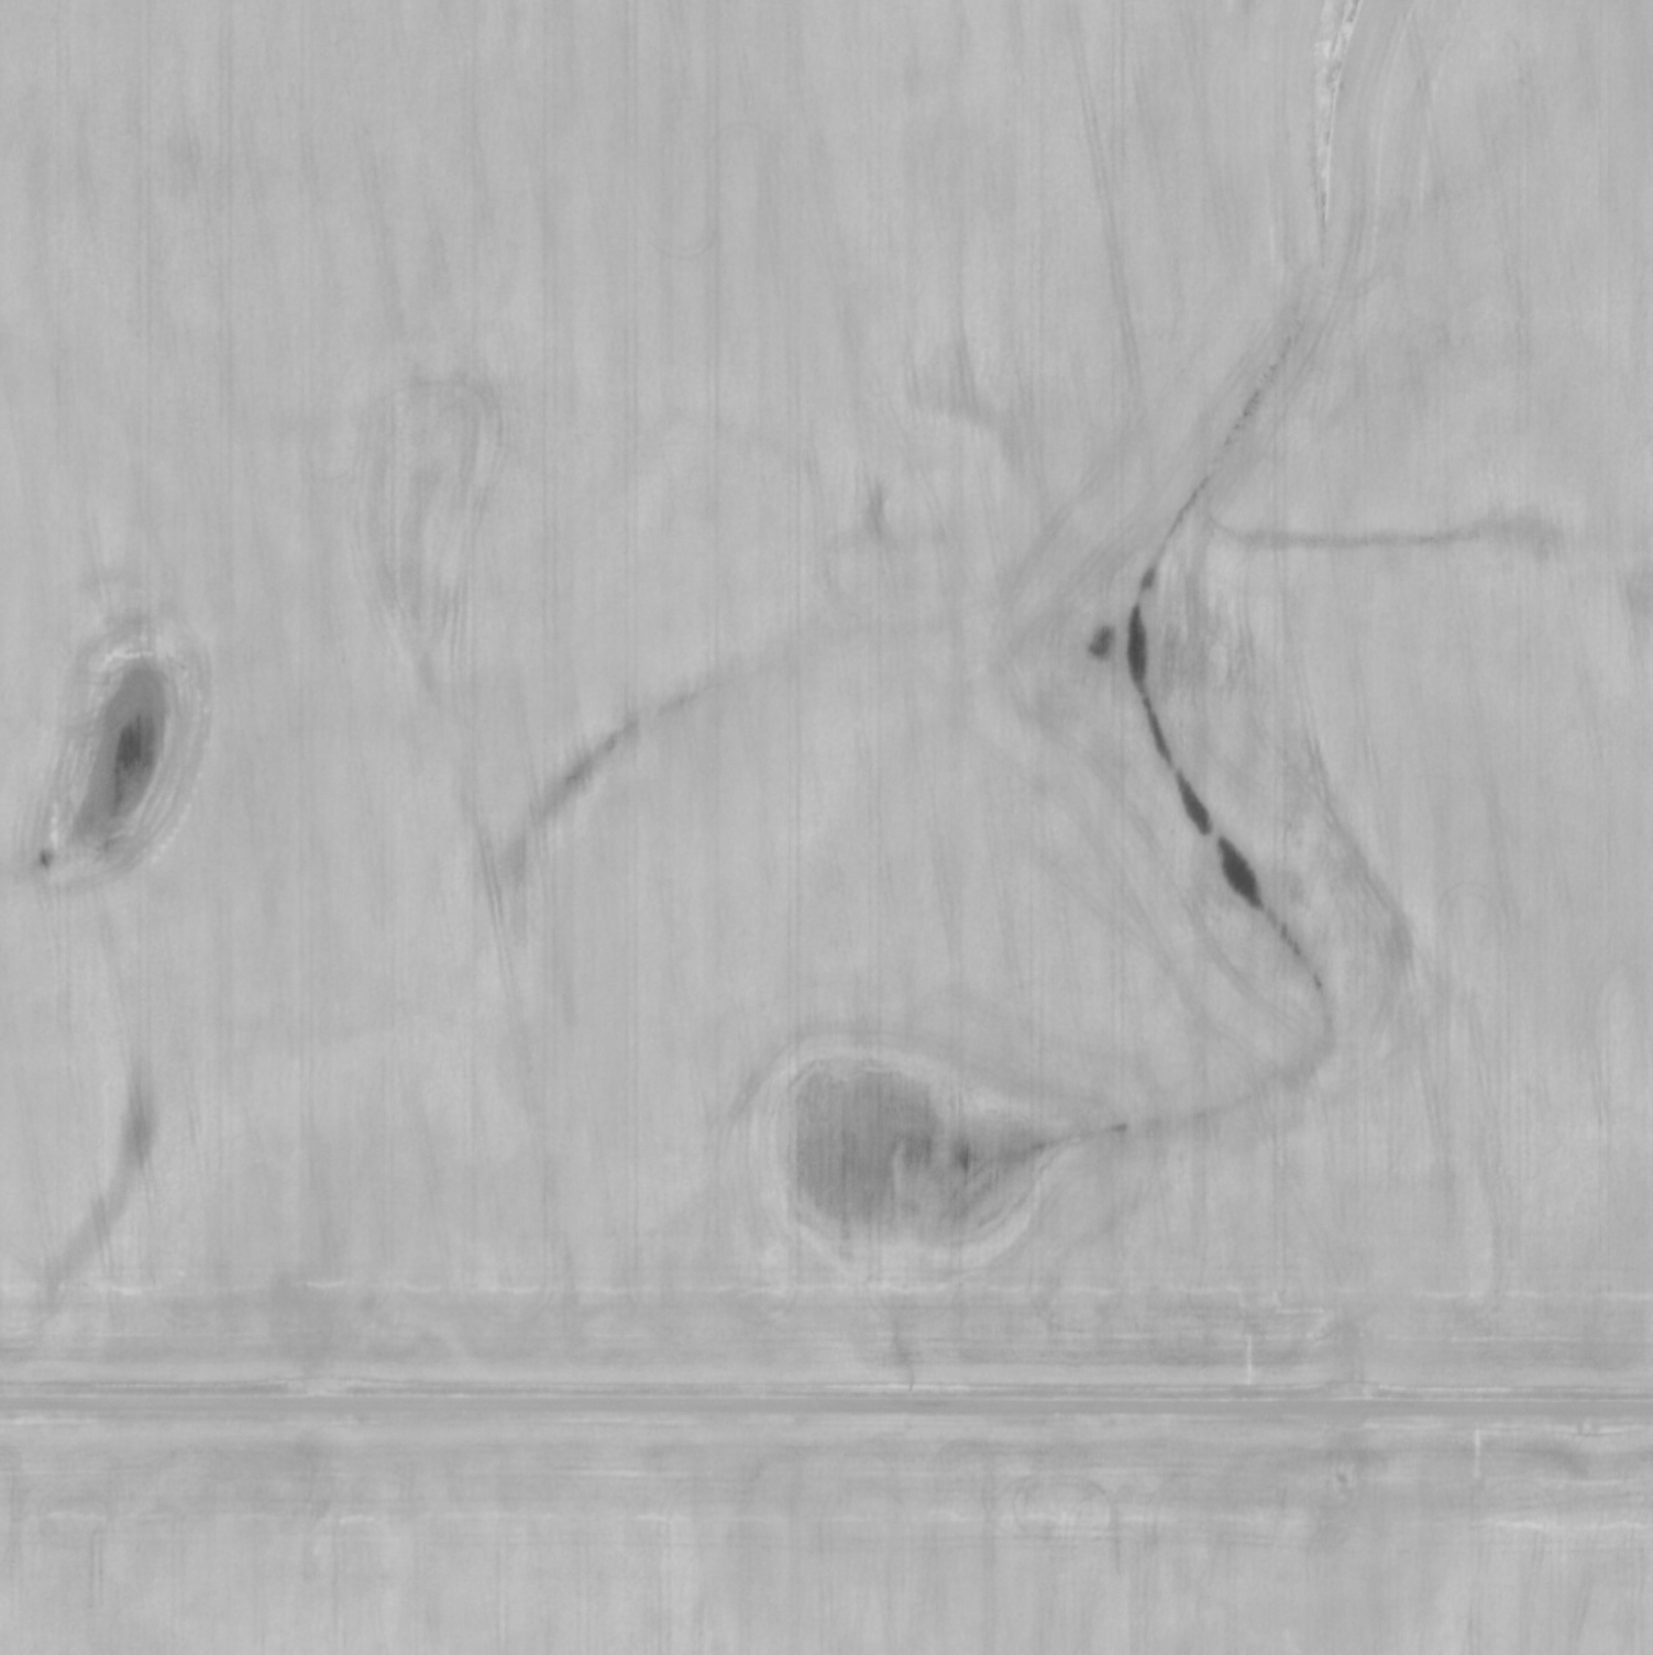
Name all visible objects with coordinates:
road: (826, 1406)

